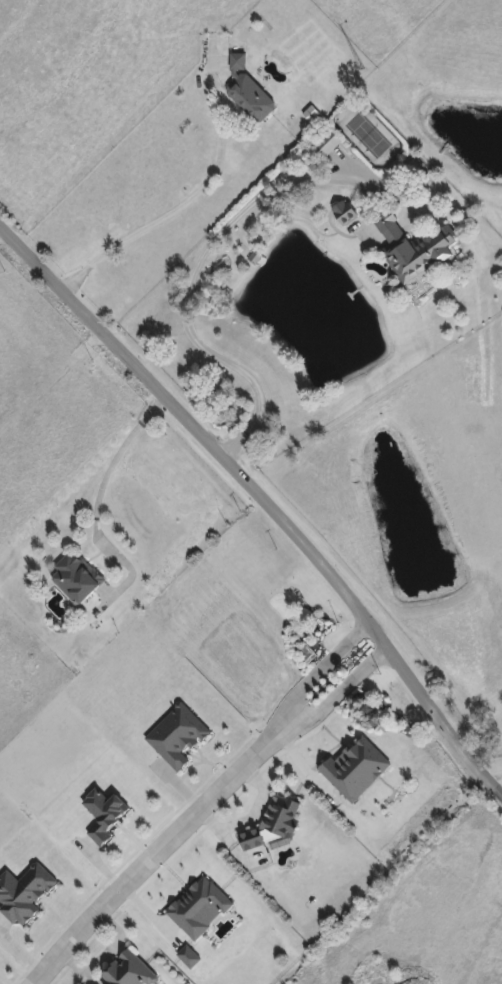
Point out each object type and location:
building: (248, 91)
building: (327, 146)
road: (187, 198)
building: (345, 214)
building: (413, 248)
road: (202, 253)
road: (103, 499)
road: (264, 499)
building: (76, 580)
road: (203, 806)
building: (104, 815)
building: (281, 817)
building: (251, 841)
building: (129, 971)

